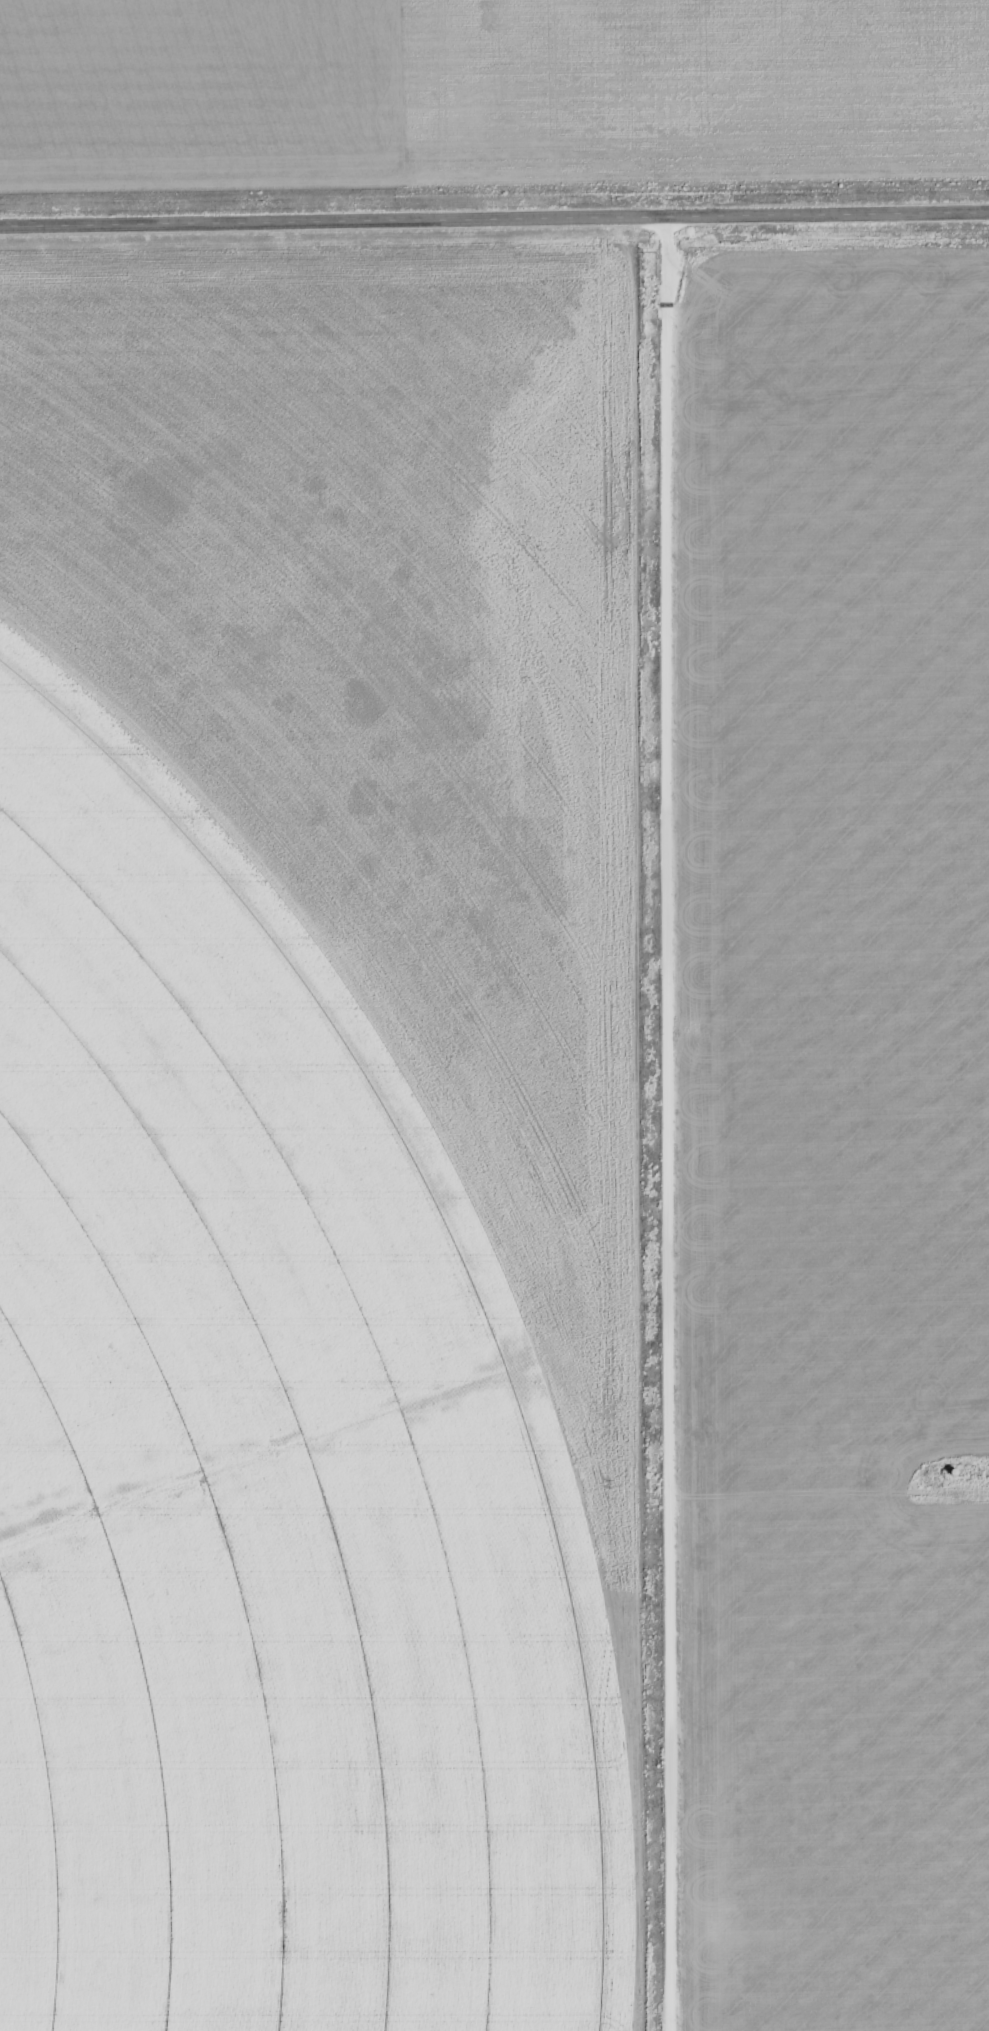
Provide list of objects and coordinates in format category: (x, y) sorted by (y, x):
road: (494, 223)
road: (671, 1125)

